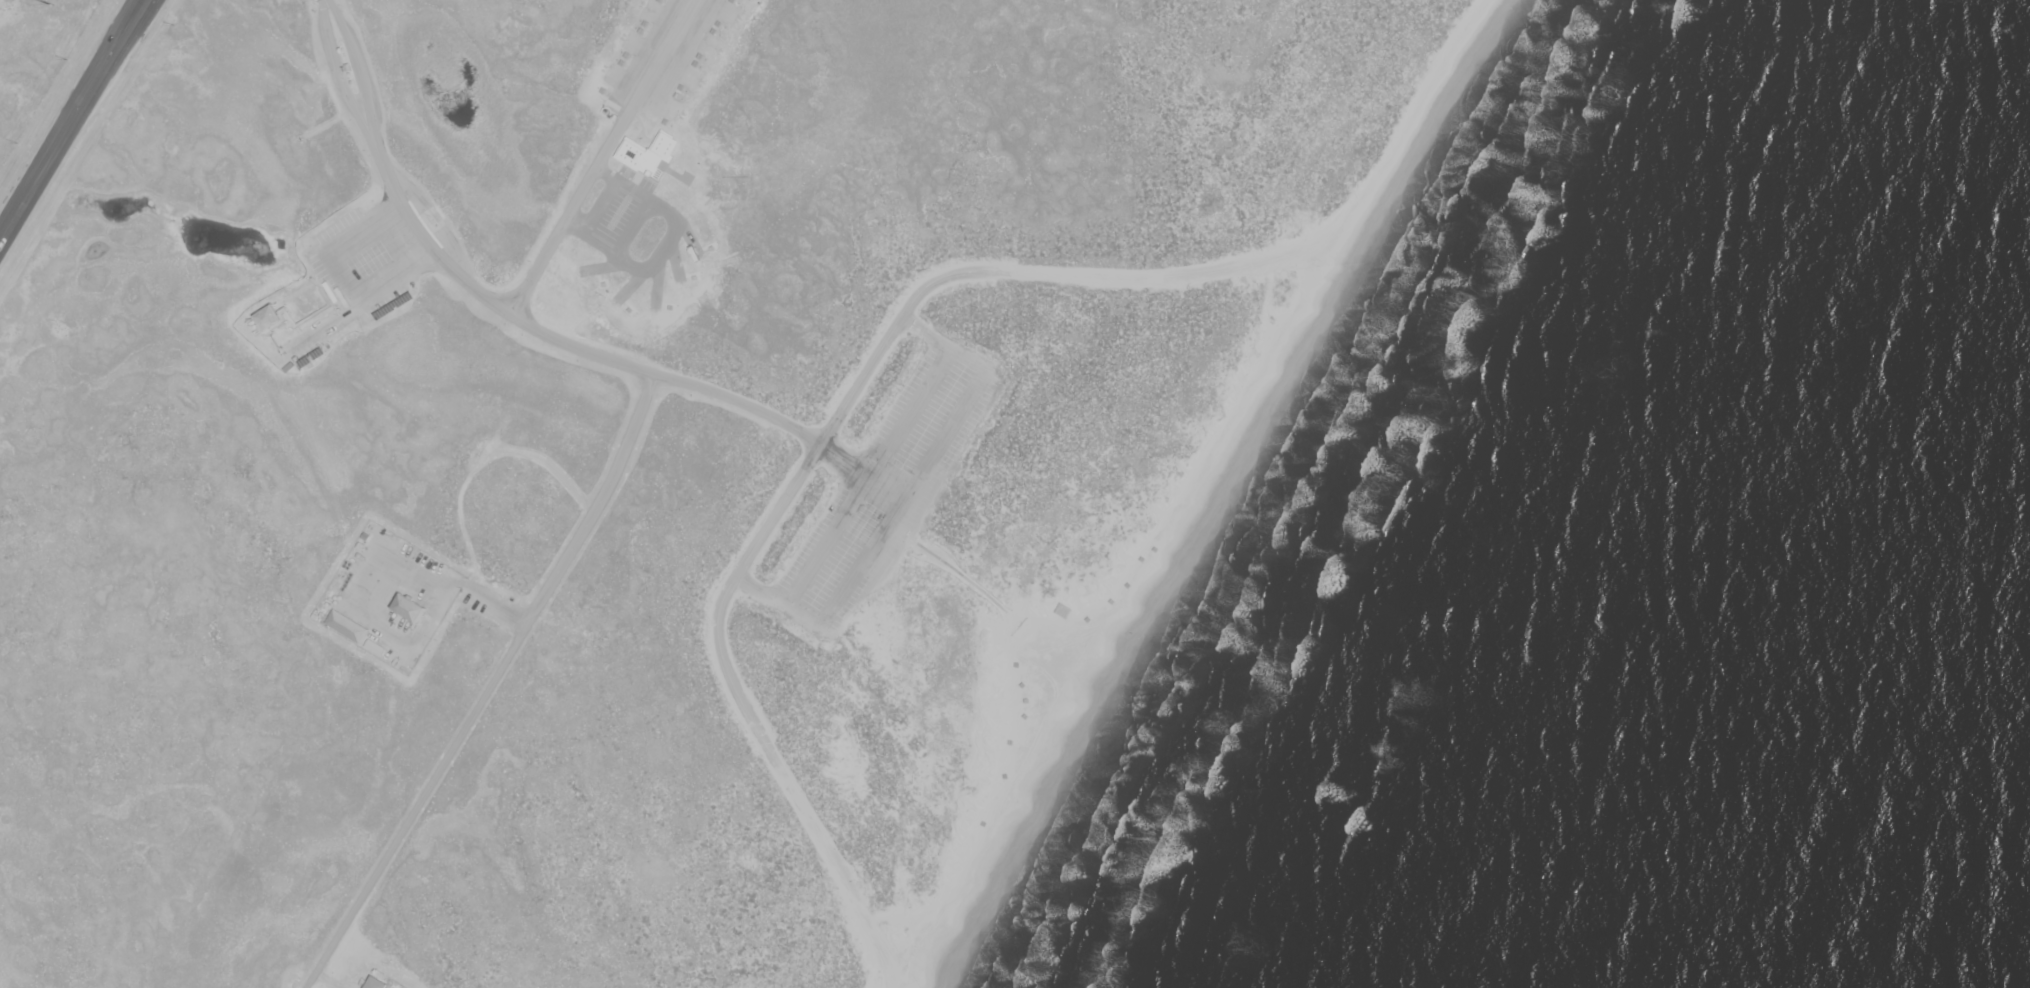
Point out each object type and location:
road: (148, 0)
power tower: (51, 5)
park: (34, 57)
toll booth: (353, 67)
toll booth: (340, 69)
road: (355, 73)
road: (342, 77)
road: (74, 125)
road: (602, 159)
parking lot: (622, 216)
road: (436, 222)
road: (428, 225)
parking lot: (359, 275)
building: (588, 278)
road: (1101, 279)
road: (317, 287)
road: (298, 294)
building: (265, 320)
road: (307, 321)
road: (609, 362)
road: (812, 456)
park: (765, 469)
parking lot: (884, 492)
road: (903, 504)
road: (956, 517)
building: (973, 552)
road: (452, 583)
parking lot: (397, 600)
building: (405, 611)
building: (346, 629)
road: (490, 686)
road: (792, 797)
road: (325, 982)
building: (373, 985)

